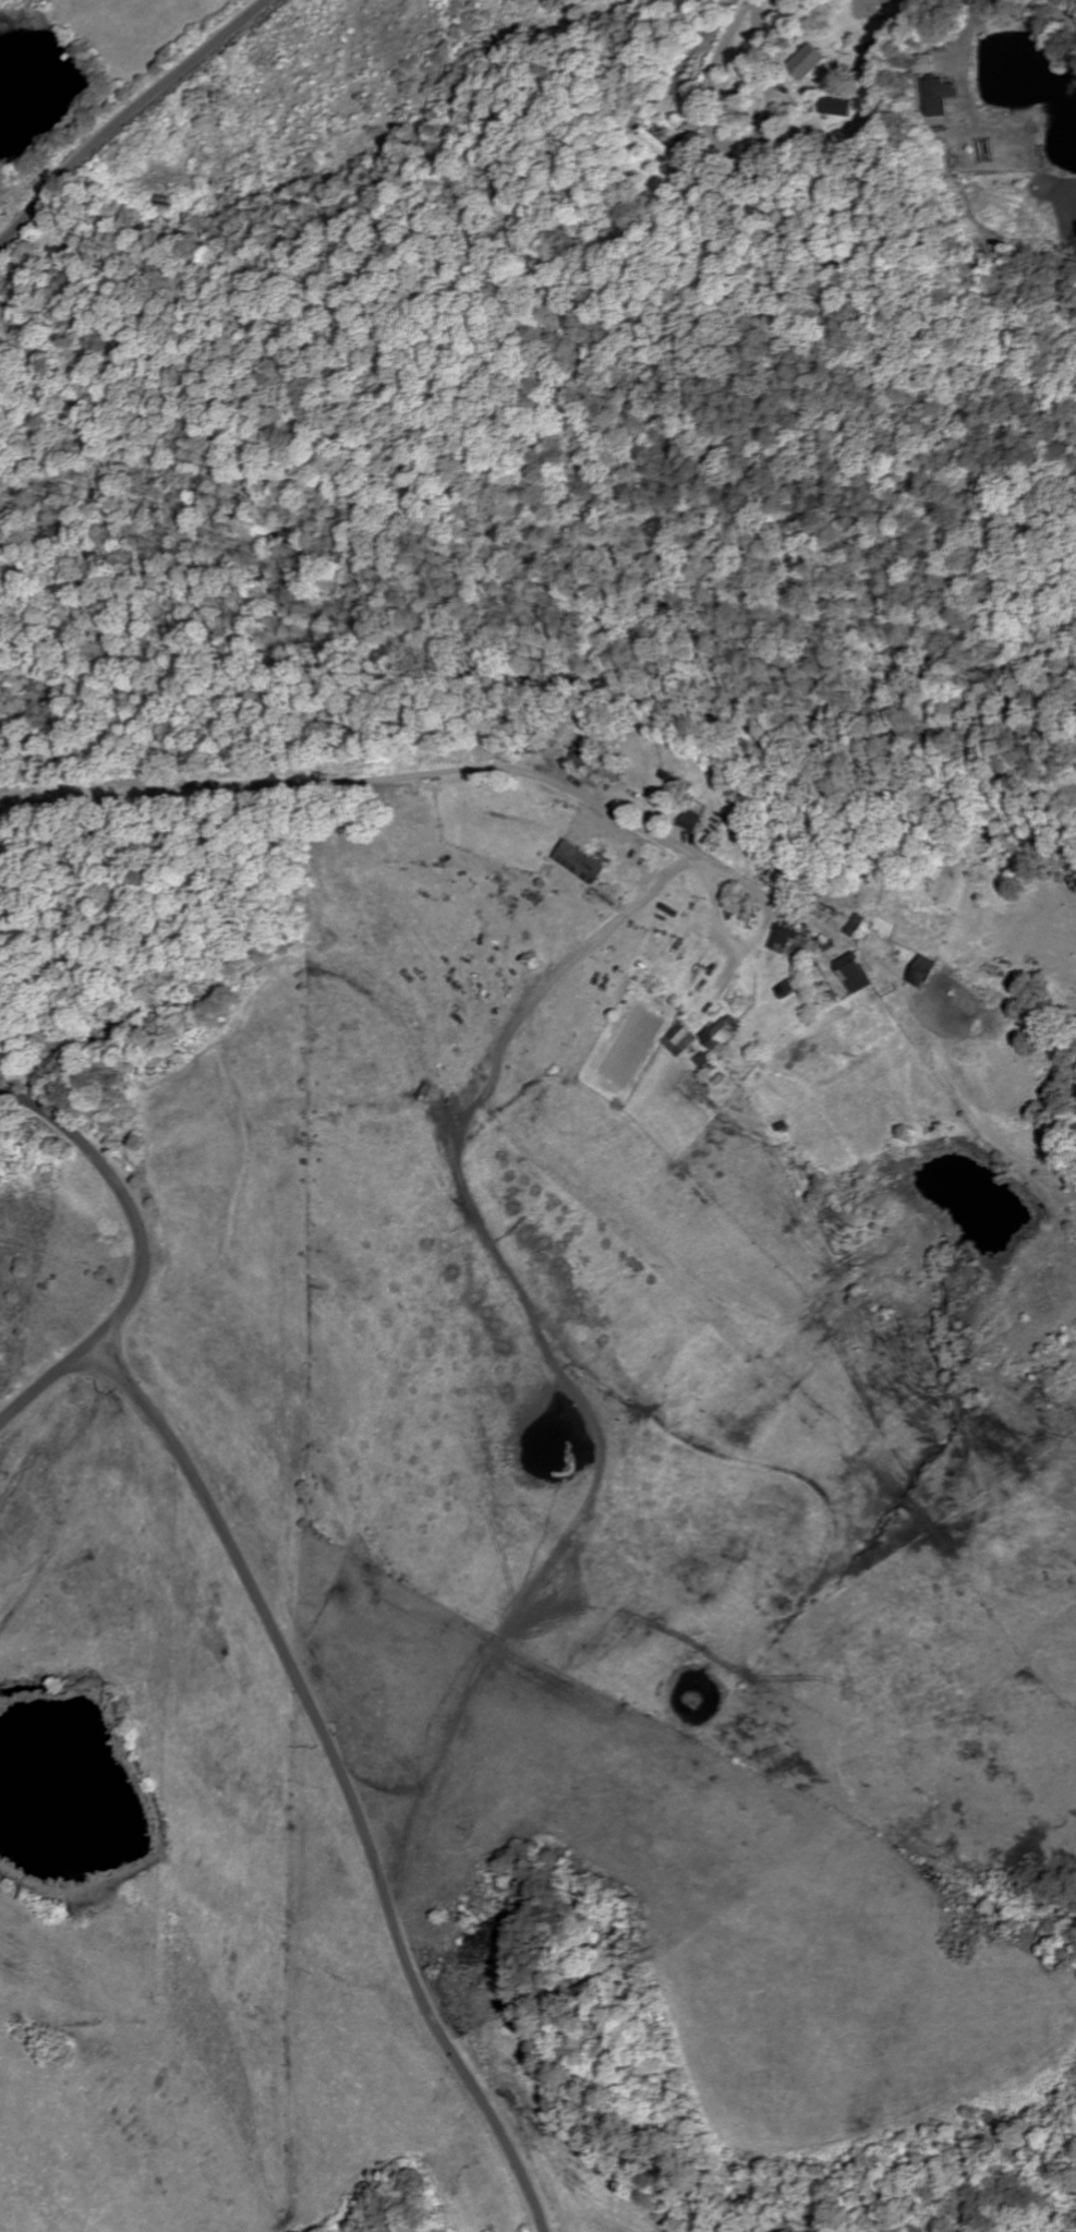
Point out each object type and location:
road: (1067, 4)
road: (969, 35)
road: (762, 50)
building: (805, 63)
building: (934, 98)
road: (704, 105)
building: (835, 108)
road: (126, 112)
road: (547, 784)
road: (148, 785)
building: (688, 822)
building: (573, 864)
building: (787, 943)
building: (919, 973)
building: (849, 976)
building: (721, 1037)
building: (677, 1041)
road: (138, 1252)
road: (343, 1772)

